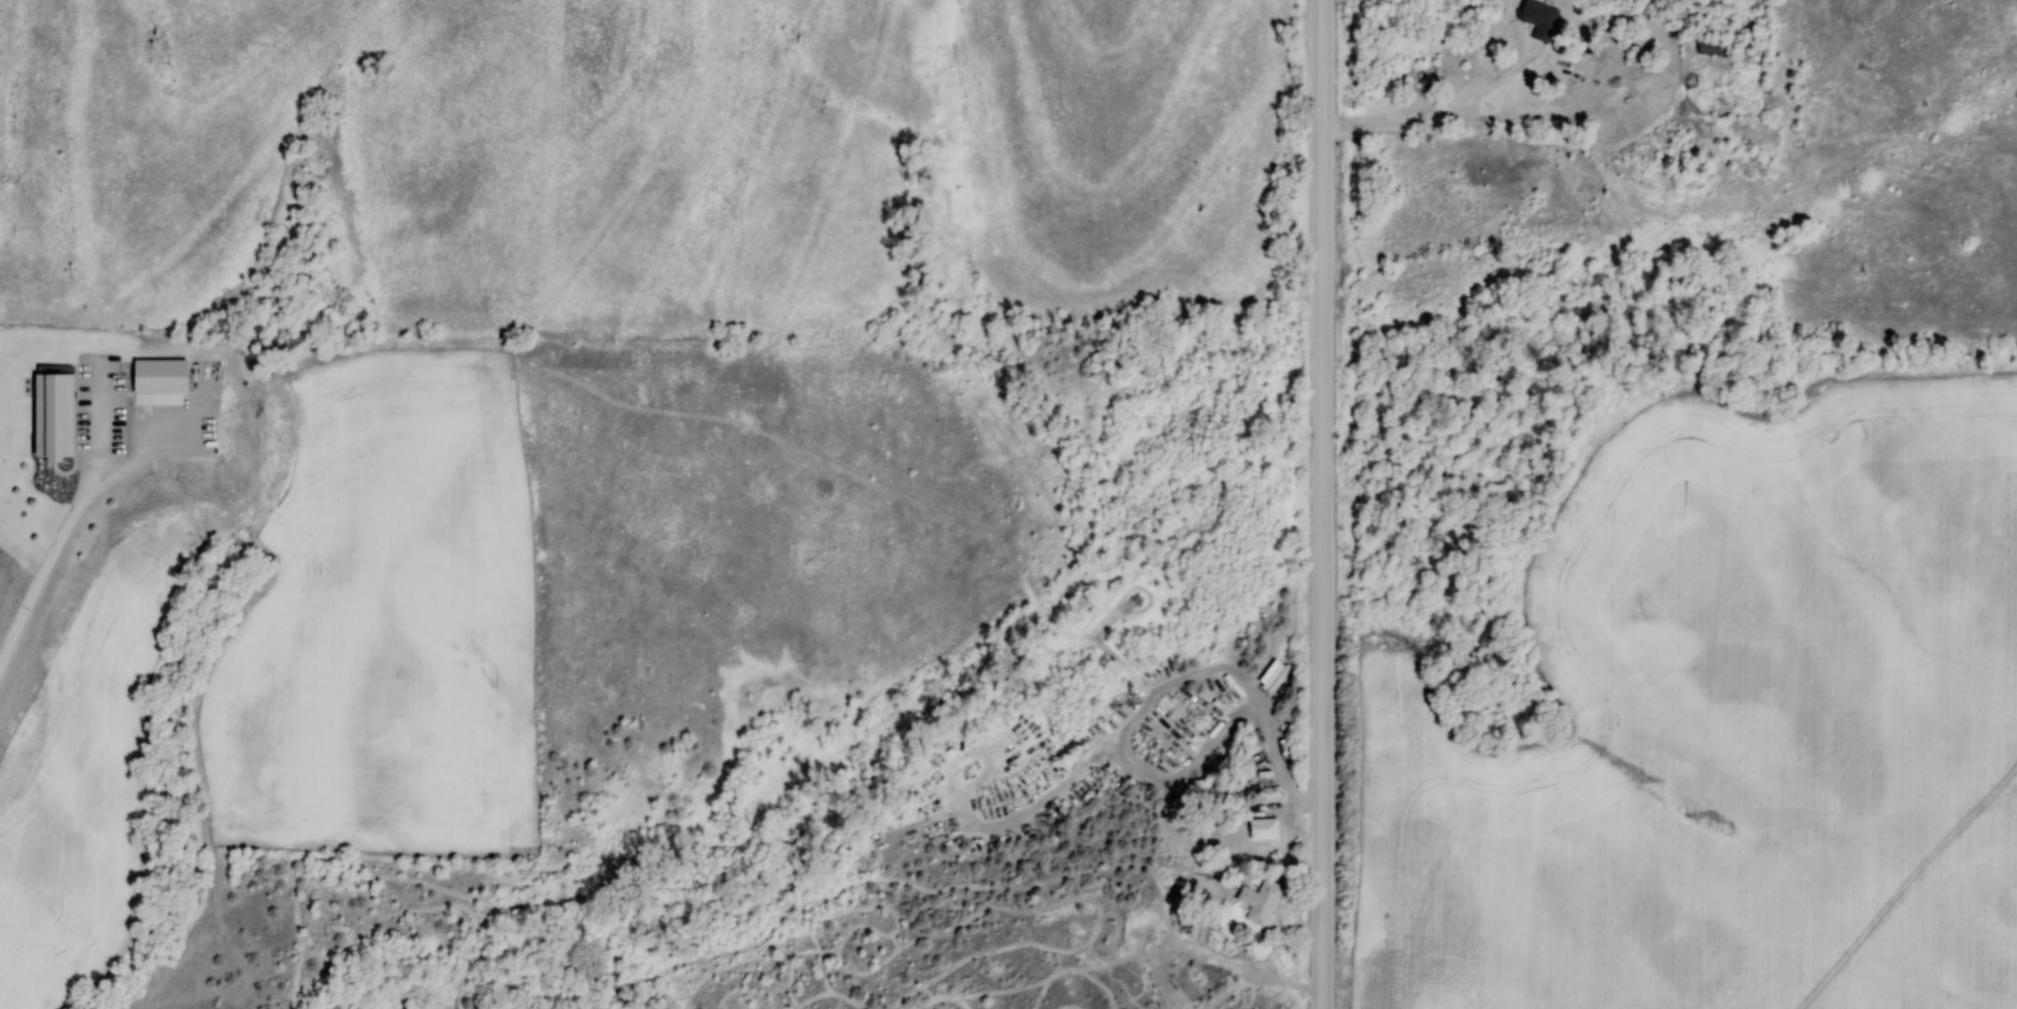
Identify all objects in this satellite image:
building: (1540, 19)
building: (1717, 47)
building: (1564, 75)
road: (1435, 118)
road: (1323, 504)
road: (71, 521)
building: (1265, 828)
building: (1261, 901)

